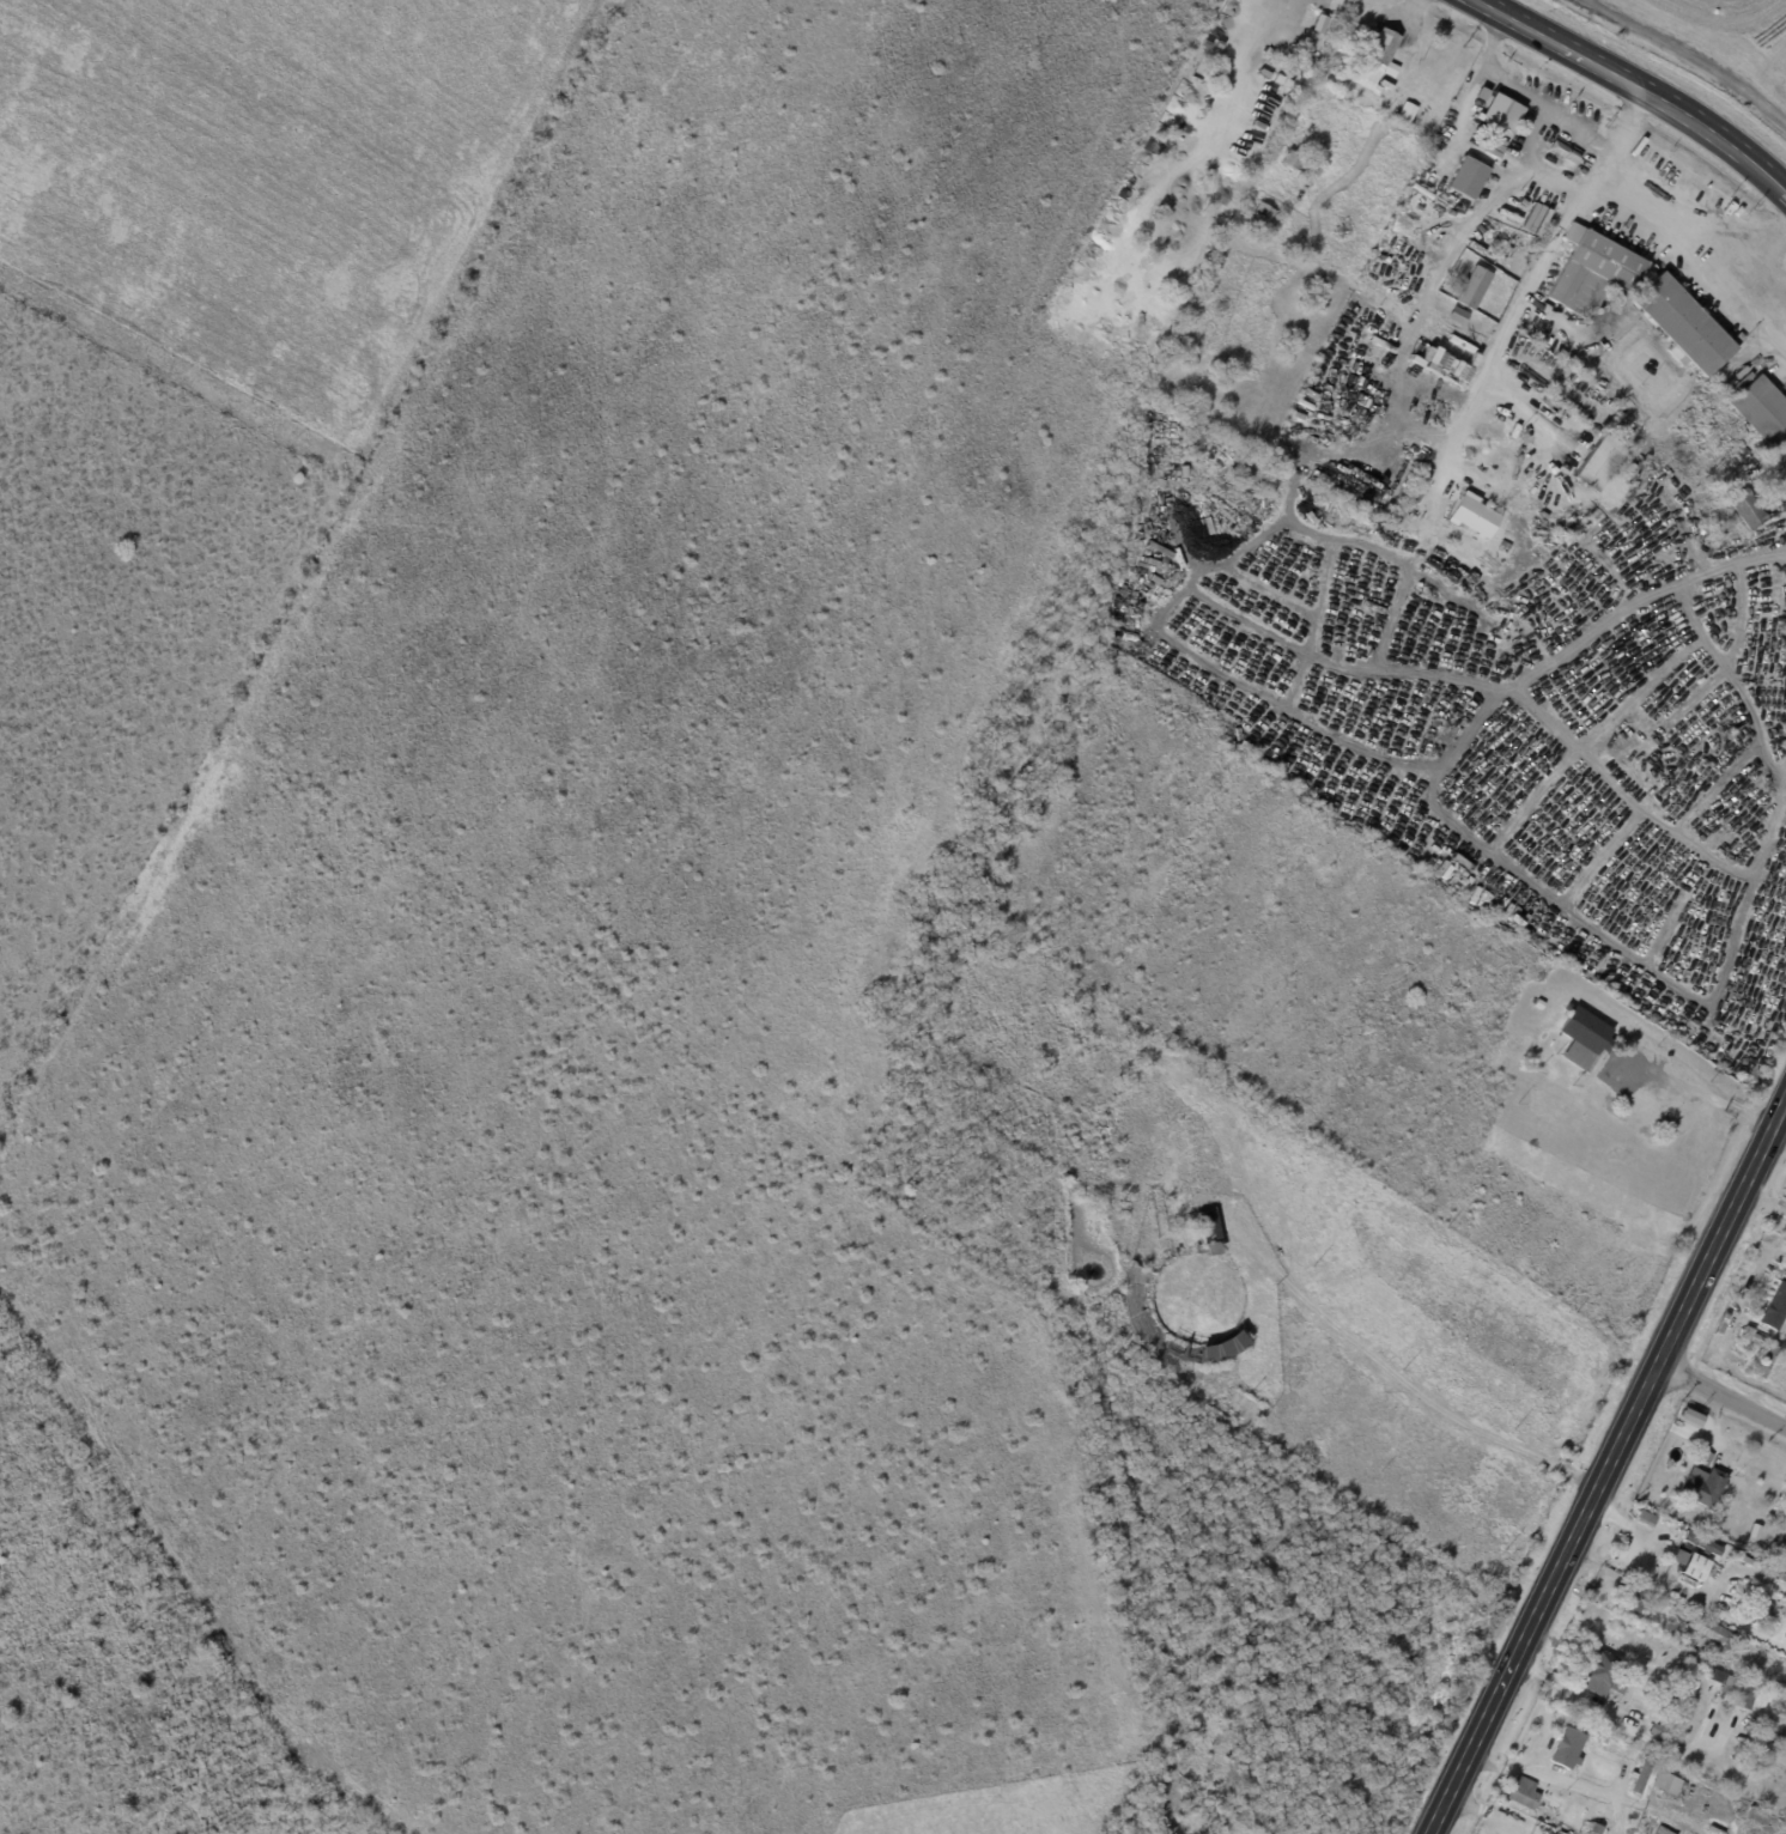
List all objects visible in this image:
building: (1329, 6)
landfill: (1717, 42)
road: (1684, 54)
road: (1245, 57)
building: (1381, 59)
building: (1464, 66)
road: (1634, 85)
road: (1542, 108)
building: (1500, 113)
building: (1407, 115)
road: (1629, 122)
building: (1296, 162)
building: (1468, 178)
road: (1784, 189)
building: (1264, 219)
building: (1251, 243)
building: (1397, 243)
road: (1694, 248)
road: (1754, 248)
building: (1592, 274)
building: (1474, 287)
building: (1460, 316)
road: (1508, 324)
building: (1683, 326)
building: (1741, 347)
building: (1760, 409)
building: (1197, 441)
building: (1598, 463)
building: (1256, 473)
building: (1580, 492)
building: (1419, 494)
building: (1744, 509)
building: (1470, 517)
road: (1569, 652)
road: (1290, 711)
building: (1541, 1004)
building: (1585, 1036)
road: (1763, 1203)
building: (1208, 1226)
building: (1775, 1307)
building: (1749, 1336)
building: (1767, 1361)
building: (1300, 1367)
building: (1778, 1377)
road: (1721, 1395)
road: (1605, 1468)
building: (1702, 1482)
building: (1769, 1517)
building: (1697, 1542)
road: (1646, 1548)
building: (1673, 1559)
road: (1736, 1571)
building: (1629, 1597)
building: (1756, 1616)
road: (1742, 1627)
building: (1709, 1633)
building: (1598, 1676)
building: (1721, 1681)
building: (1743, 1699)
building: (1761, 1706)
road: (1606, 1714)
building: (1663, 1719)
building: (1762, 1732)
building: (1566, 1749)
building: (1640, 1775)
building: (1667, 1785)
building: (1521, 1793)
building: (1756, 1814)
building: (1593, 1829)
building: (1664, 1832)

